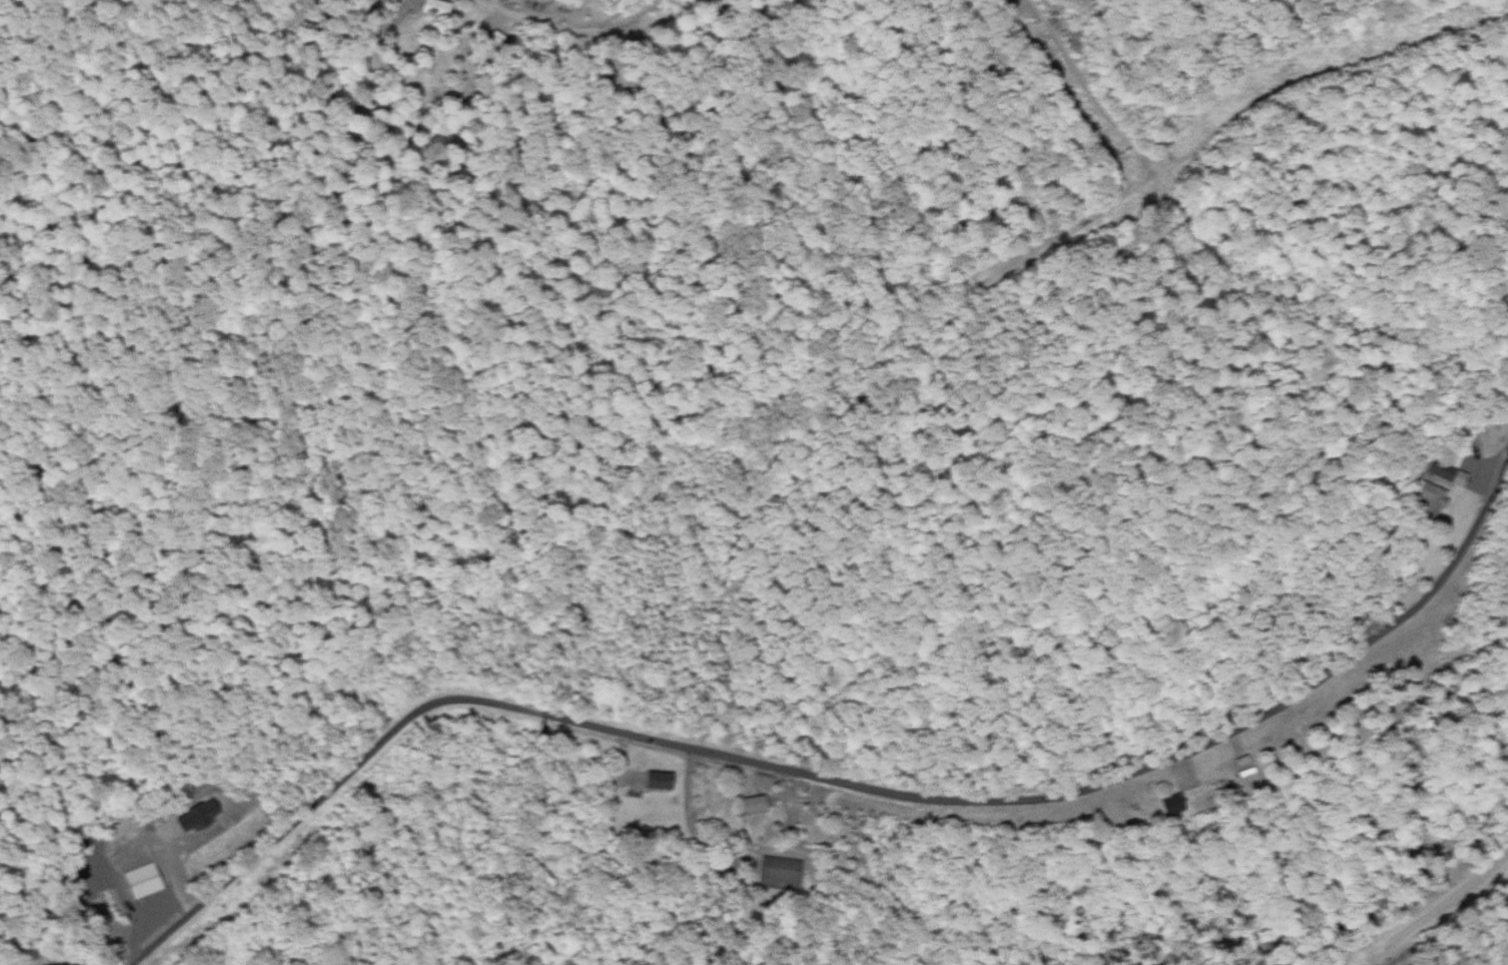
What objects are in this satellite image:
building: (567, 2)
building: (436, 7)
road: (1040, 16)
road: (566, 31)
road: (179, 363)
building: (1448, 470)
building: (1430, 495)
building: (661, 781)
road: (842, 789)
building: (757, 804)
building: (1175, 804)
building: (198, 815)
building: (783, 873)
building: (144, 881)
road: (1435, 910)

